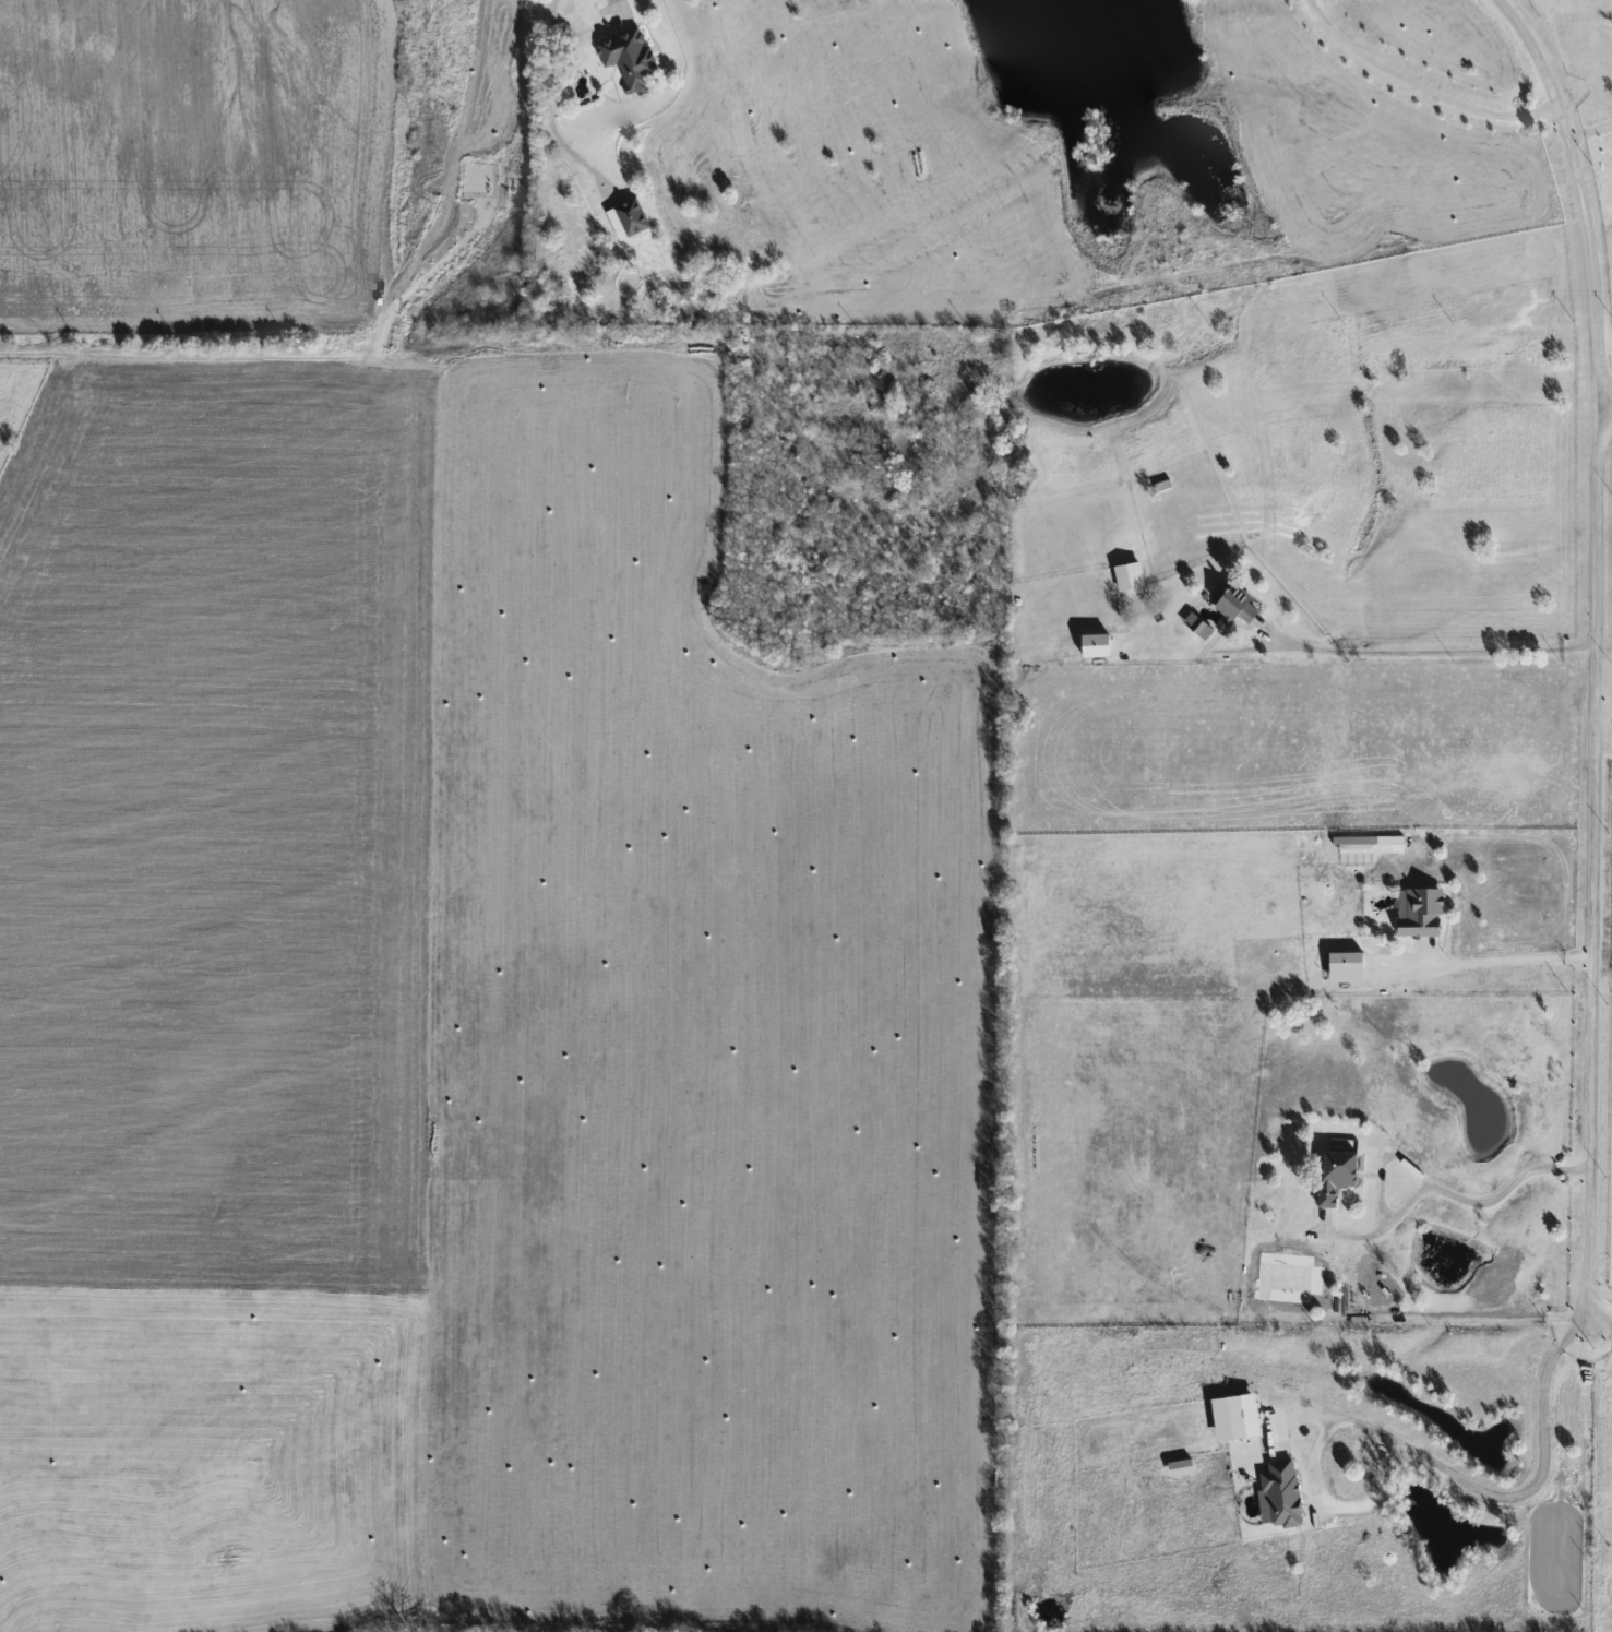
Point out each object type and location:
building: (624, 58)
road: (1420, 86)
road: (544, 108)
building: (625, 219)
road: (275, 353)
road: (1610, 409)
building: (1126, 576)
building: (1228, 606)
road: (1600, 646)
road: (1435, 651)
road: (1605, 738)
building: (1417, 912)
road: (1503, 957)
building: (1332, 1177)
road: (1495, 1196)
road: (1602, 1310)
road: (1601, 1329)
road: (1505, 1502)

